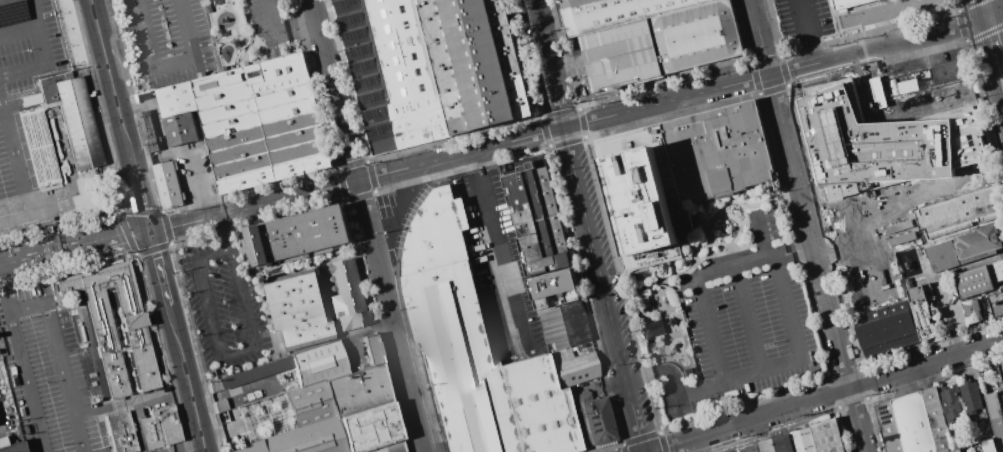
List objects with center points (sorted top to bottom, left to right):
building: (425, 2)
rooftop solar panel: (347, 3)
building: (848, 3)
road: (997, 5)
road: (1001, 9)
rooftop solar panel: (10, 12)
building: (613, 12)
road: (1001, 18)
rooftop solar panel: (353, 20)
parking lot: (803, 20)
parking lot: (270, 25)
road: (19, 29)
road: (807, 31)
road: (278, 32)
rooftop solar panel: (358, 35)
building: (697, 36)
road: (759, 37)
parking lot: (167, 40)
road: (884, 45)
rooftop solar panel: (361, 51)
road: (48, 56)
building: (622, 56)
road: (986, 61)
building: (477, 63)
road: (548, 63)
parking lot: (917, 64)
road: (169, 66)
rooftop solar panel: (365, 66)
building: (949, 72)
building: (395, 73)
road: (111, 82)
rooftop solar panel: (370, 82)
road: (333, 89)
rooftop solar panel: (370, 98)
building: (177, 100)
road: (666, 100)
rooftop solar panel: (387, 111)
rooftop solar panel: (372, 114)
building: (79, 123)
building: (261, 123)
building: (181, 129)
building: (150, 131)
rooftop solar panel: (377, 131)
building: (38, 139)
building: (882, 142)
road: (476, 162)
road: (23, 167)
building: (679, 176)
road: (356, 179)
building: (168, 185)
road: (197, 189)
road: (140, 197)
building: (536, 208)
building: (958, 212)
traffic signals: (149, 230)
road: (809, 231)
road: (226, 232)
building: (310, 233)
road: (111, 237)
road: (763, 237)
building: (261, 245)
road: (788, 246)
building: (967, 248)
road: (37, 255)
building: (533, 256)
road: (792, 258)
road: (500, 264)
road: (159, 267)
road: (732, 267)
road: (948, 273)
building: (979, 279)
building: (1002, 285)
building: (1002, 286)
building: (554, 287)
road: (603, 289)
building: (851, 293)
building: (350, 295)
building: (873, 298)
road: (3, 299)
building: (861, 301)
building: (997, 304)
building: (298, 309)
building: (972, 311)
building: (921, 313)
building: (106, 314)
road: (390, 316)
road: (749, 319)
building: (68, 323)
building: (563, 326)
building: (653, 328)
road: (710, 331)
building: (887, 334)
building: (372, 349)
building: (143, 351)
road: (58, 355)
building: (559, 355)
road: (222, 360)
building: (459, 360)
building: (319, 363)
road: (926, 365)
building: (1002, 366)
building: (574, 369)
road: (755, 374)
road: (188, 378)
road: (24, 381)
building: (358, 390)
building: (972, 401)
building: (310, 403)
rooftop solar panel: (884, 406)
building: (950, 406)
building: (537, 407)
rooftop solar panel: (882, 412)
building: (580, 415)
rooftop solar panel: (889, 416)
building: (996, 416)
building: (598, 420)
road: (749, 420)
road: (858, 420)
rooftop solar panel: (886, 421)
building: (914, 423)
building: (160, 428)
building: (370, 428)
building: (120, 432)
rooftop solar panel: (891, 436)
building: (309, 438)
building: (801, 440)
road: (819, 441)
parking lot: (800, 442)
building: (13, 447)
building: (251, 447)
building: (388, 447)
building: (979, 447)
road: (80, 448)
road: (781, 449)

